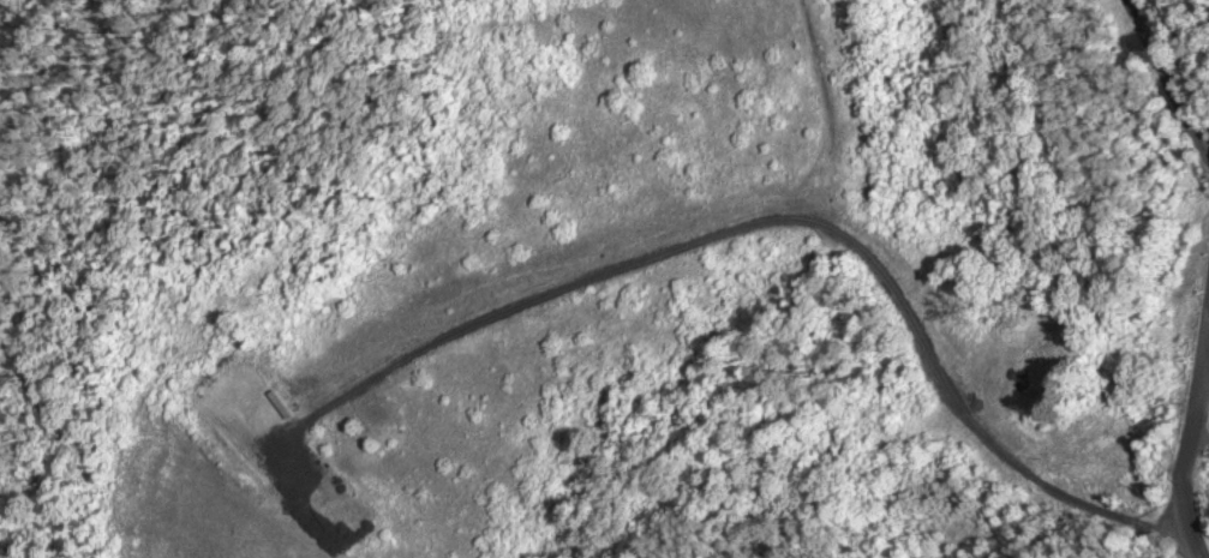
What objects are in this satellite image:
road: (1189, 418)

